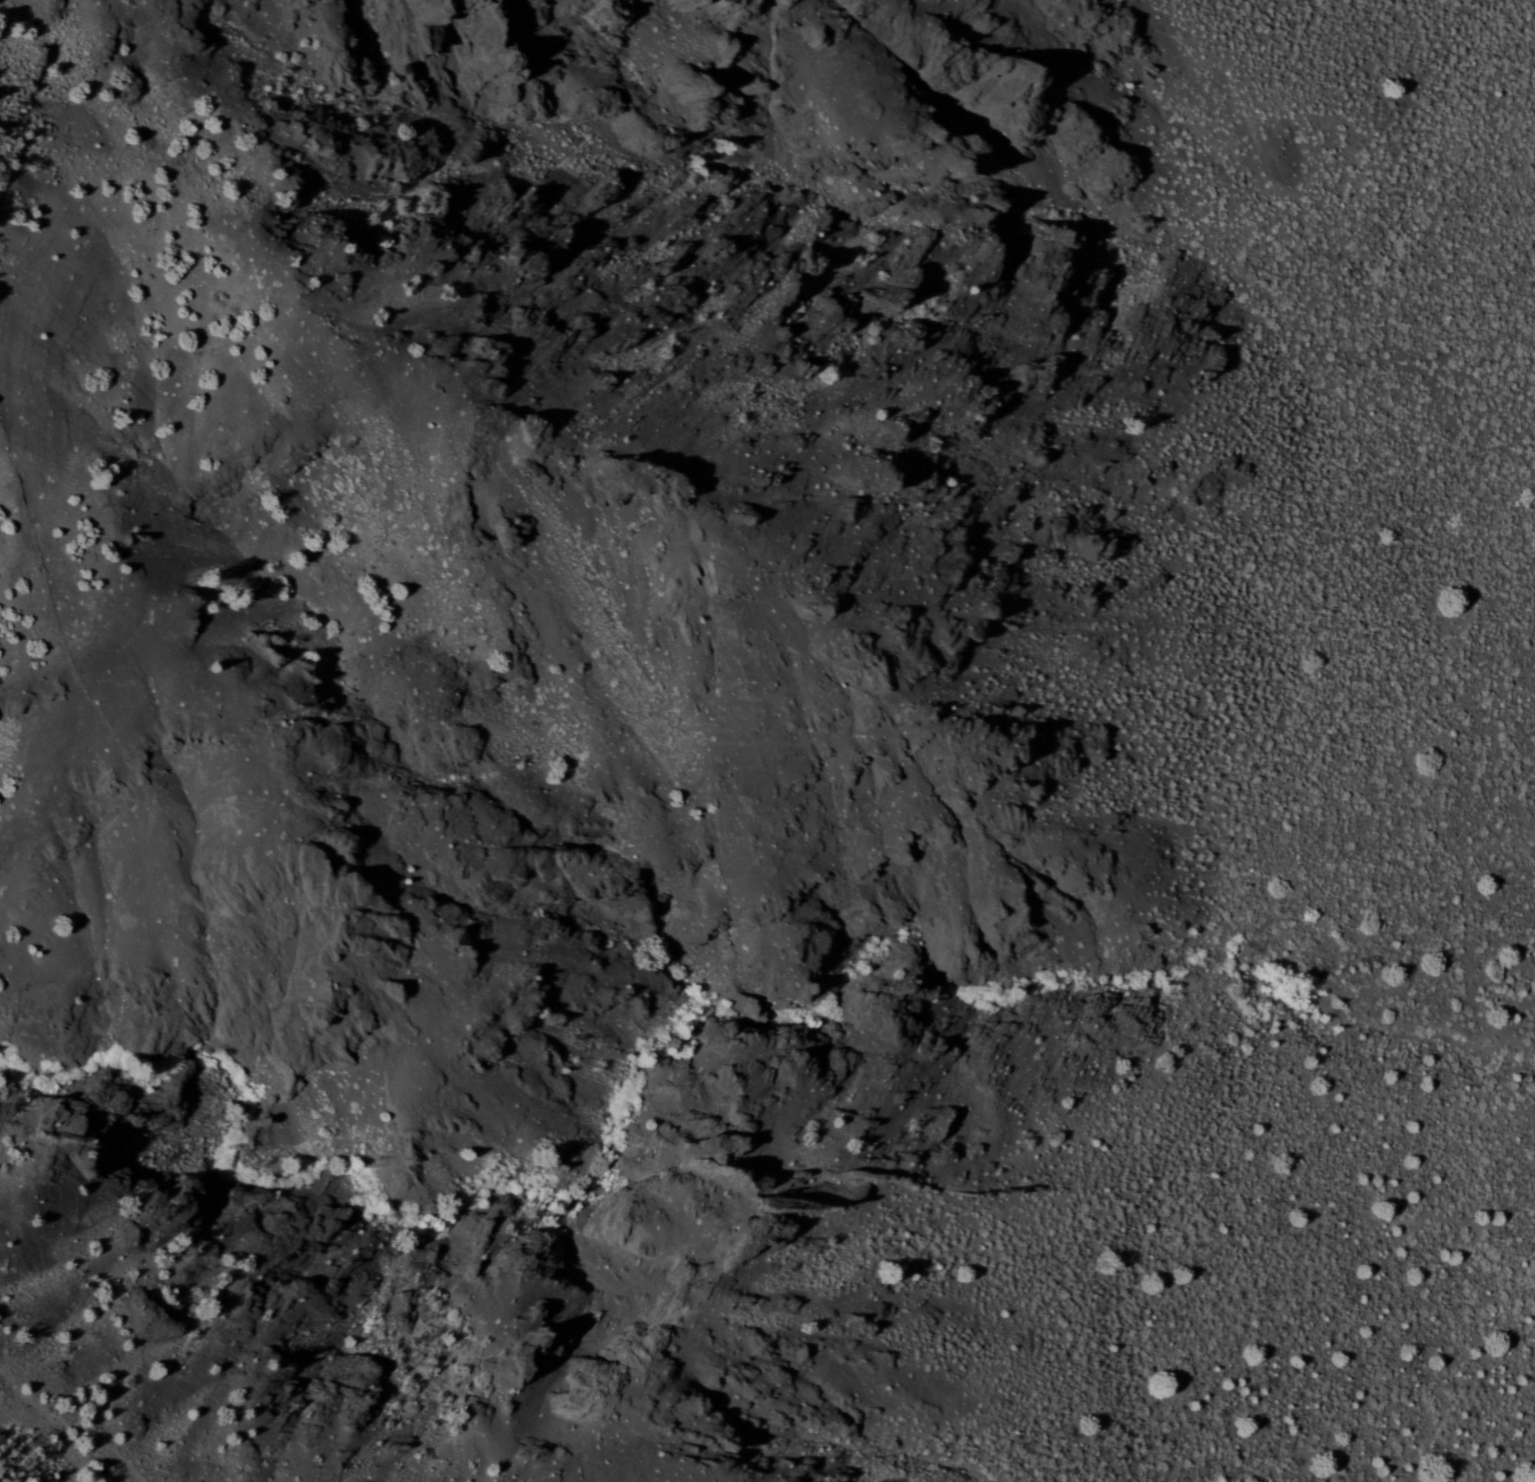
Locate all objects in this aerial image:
road: (1474, 1191)

